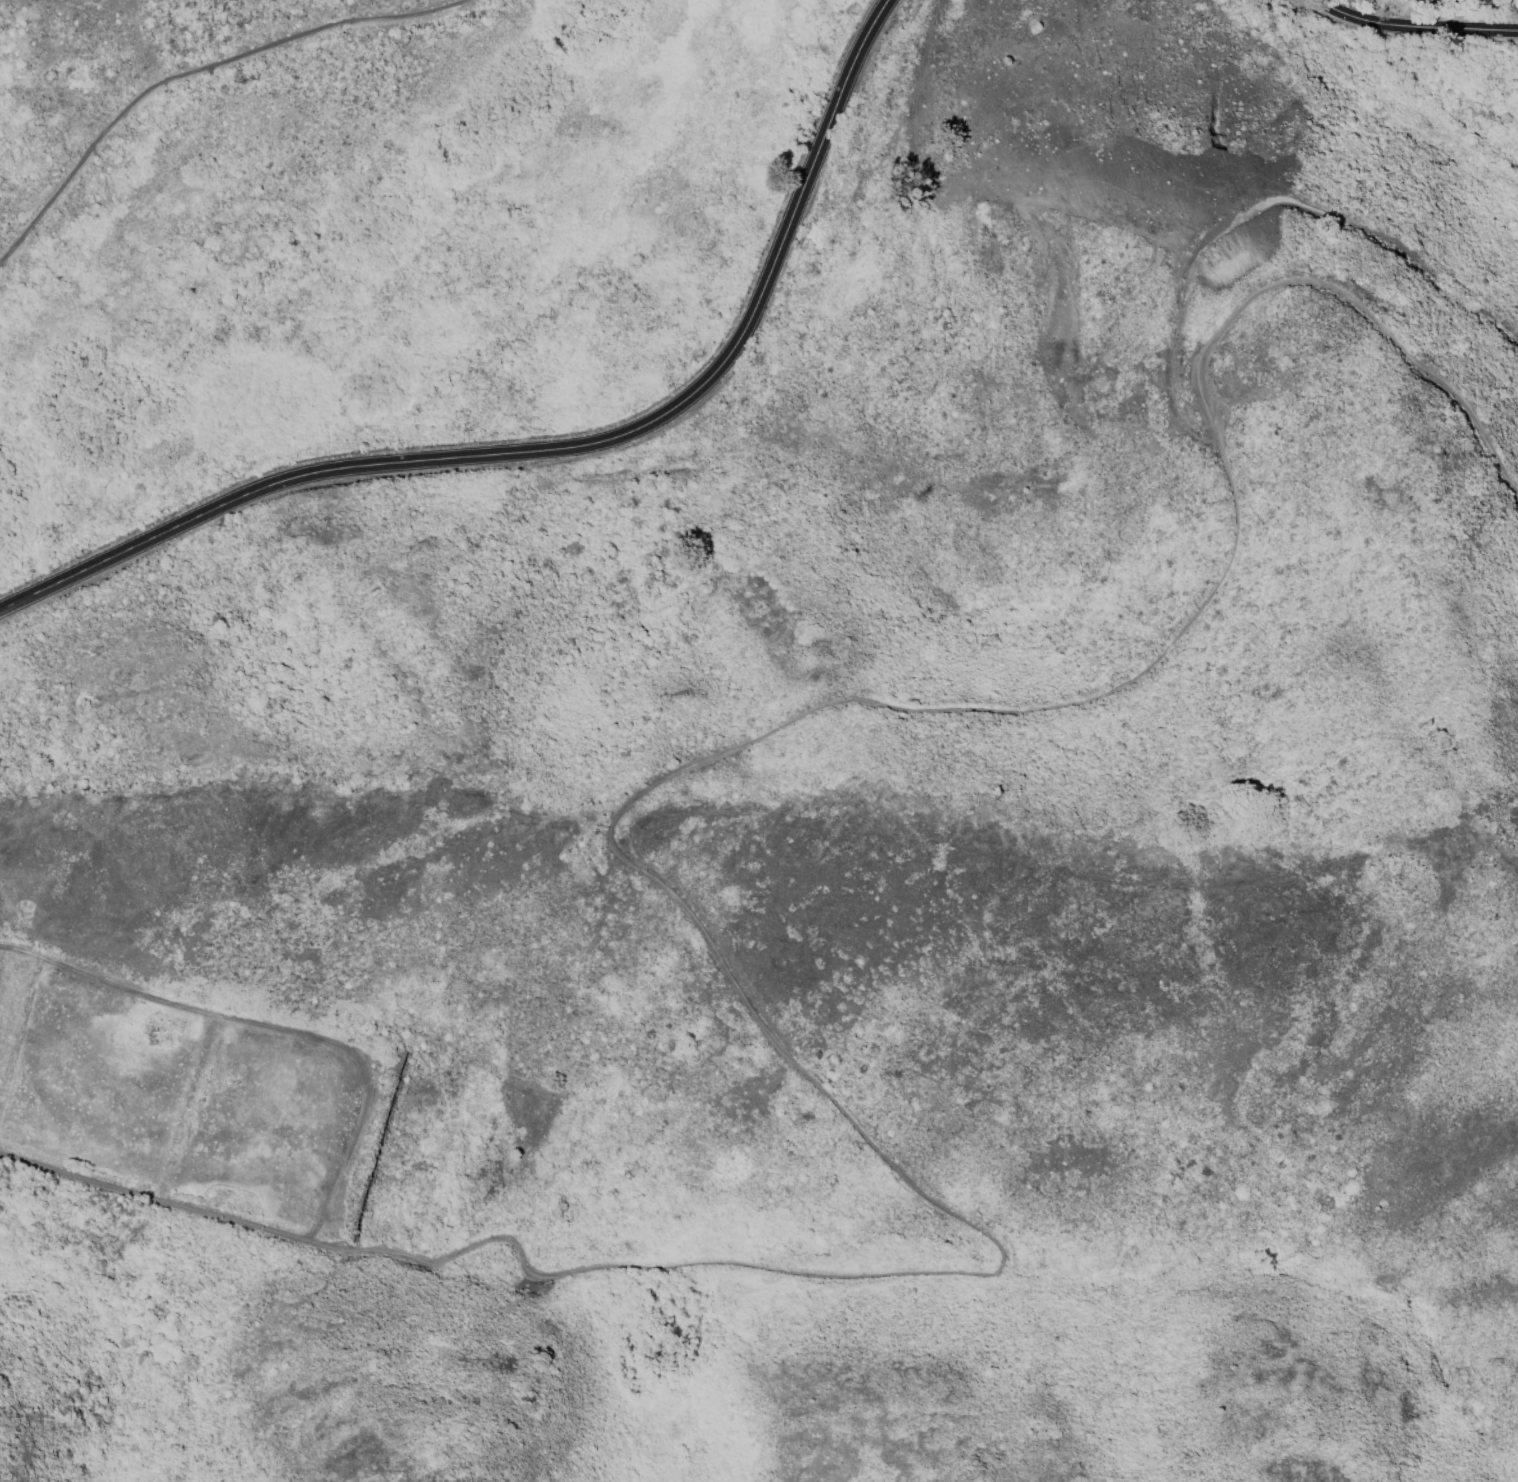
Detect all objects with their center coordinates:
building: (1421, 0)
building: (1427, 1)
road: (1416, 25)
road: (197, 71)
road: (561, 448)
road: (697, 921)
road: (277, 1028)

